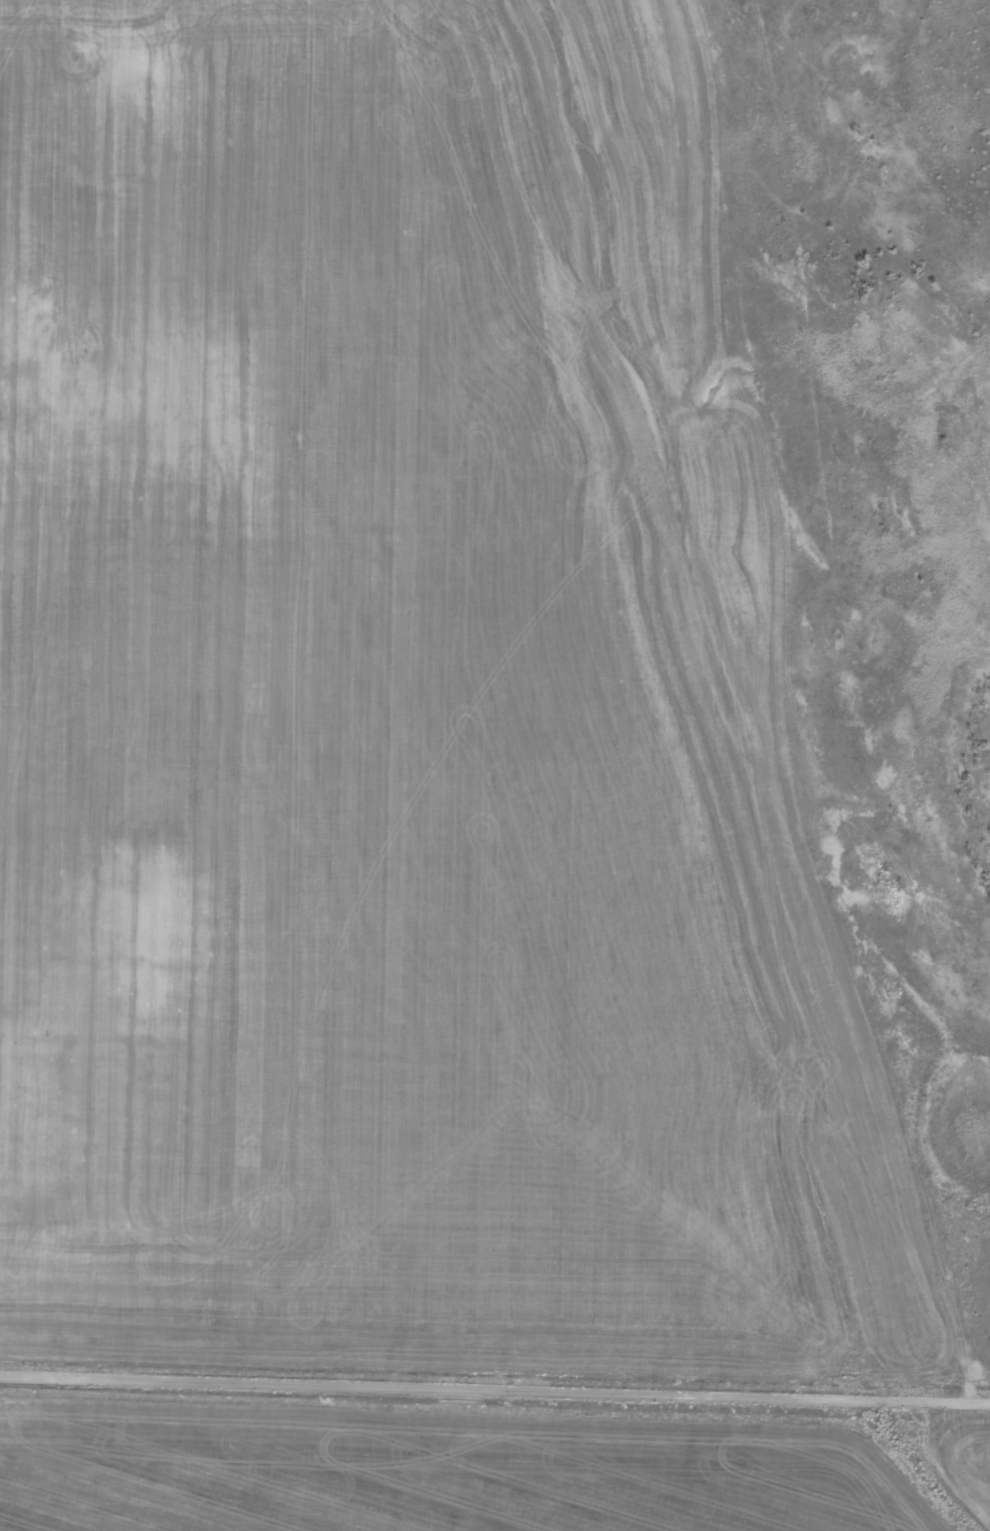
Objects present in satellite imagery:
road: (495, 1386)

